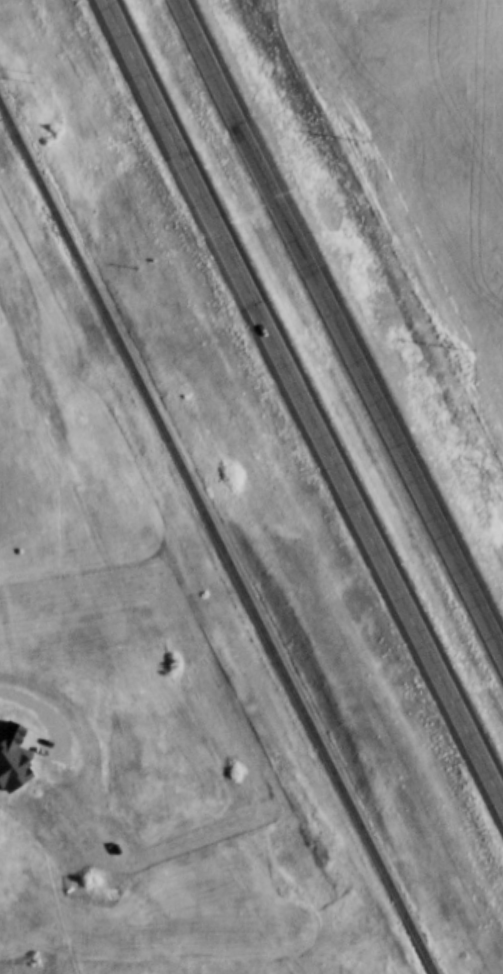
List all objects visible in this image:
road: (342, 322)
road: (306, 395)
railway: (217, 538)

